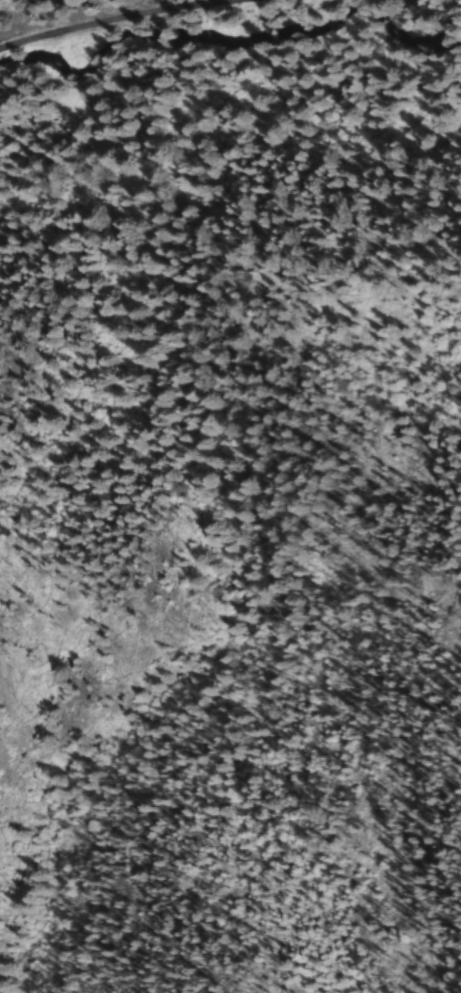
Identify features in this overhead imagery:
road: (108, 19)
river: (267, 48)

